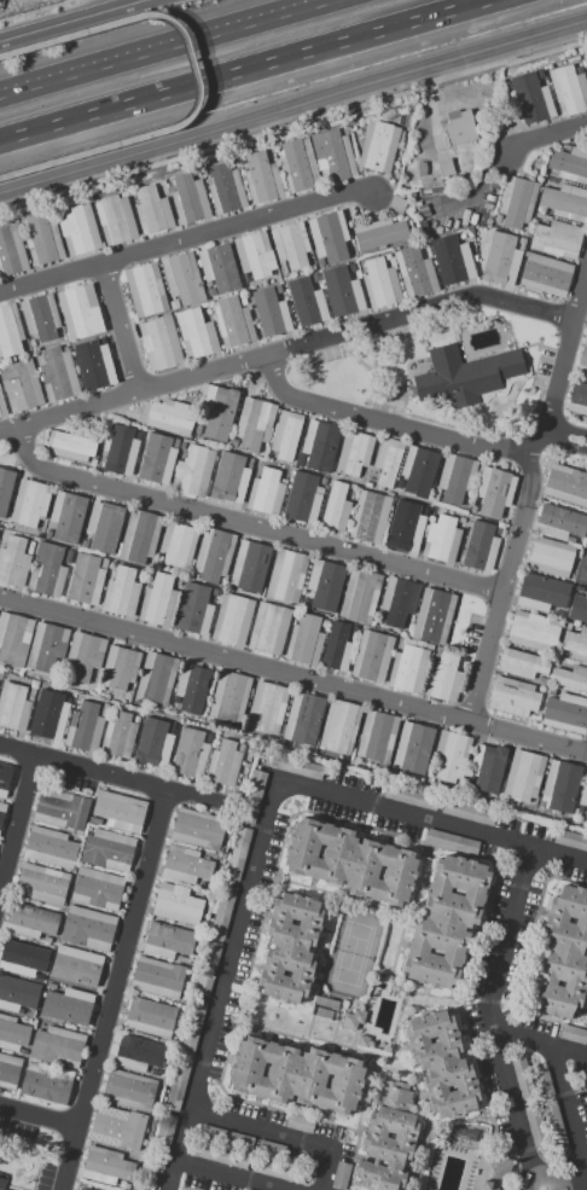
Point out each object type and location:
road: (33, 11)
road: (68, 19)
road: (173, 50)
road: (313, 51)
building: (585, 65)
building: (540, 75)
road: (193, 77)
building: (569, 88)
building: (530, 98)
road: (293, 106)
road: (68, 121)
building: (461, 129)
building: (344, 130)
road: (545, 138)
building: (379, 146)
building: (333, 156)
building: (569, 164)
building: (297, 166)
building: (446, 168)
building: (422, 169)
building: (261, 178)
building: (163, 185)
building: (225, 188)
building: (431, 192)
building: (188, 197)
building: (516, 202)
building: (565, 202)
building: (396, 205)
building: (420, 209)
building: (152, 210)
building: (498, 219)
building: (114, 220)
building: (79, 230)
building: (379, 233)
building: (329, 237)
building: (41, 239)
building: (557, 239)
road: (184, 242)
building: (291, 245)
building: (11, 251)
building: (254, 255)
building: (388, 257)
building: (453, 261)
building: (502, 261)
building: (320, 262)
building: (219, 268)
building: (353, 268)
building: (415, 273)
building: (546, 275)
building: (182, 278)
building: (315, 278)
building: (380, 284)
building: (279, 289)
building: (146, 290)
building: (210, 292)
building: (342, 292)
building: (243, 298)
building: (307, 302)
building: (174, 304)
building: (204, 306)
building: (80, 312)
building: (208, 312)
building: (271, 313)
building: (41, 318)
building: (232, 323)
road: (118, 330)
building: (10, 331)
building: (586, 332)
building: (196, 333)
building: (161, 344)
road: (286, 350)
building: (582, 360)
building: (94, 365)
building: (57, 375)
building: (465, 376)
building: (21, 385)
building: (577, 399)
building: (2, 407)
building: (217, 413)
building: (172, 417)
road: (376, 417)
building: (254, 424)
building: (286, 435)
road: (566, 437)
building: (175, 443)
building: (70, 446)
building: (318, 446)
building: (182, 447)
building: (120, 451)
building: (354, 452)
building: (157, 460)
building: (388, 460)
building: (194, 471)
building: (418, 471)
building: (232, 478)
building: (455, 478)
building: (214, 483)
building: (566, 484)
building: (367, 486)
building: (353, 487)
building: (5, 488)
building: (494, 490)
building: (266, 492)
building: (302, 498)
road: (527, 499)
building: (30, 503)
building: (336, 509)
building: (68, 516)
building: (370, 517)
building: (461, 519)
road: (251, 522)
building: (559, 522)
building: (104, 524)
building: (407, 527)
building: (499, 532)
building: (48, 533)
building: (139, 536)
building: (442, 540)
building: (85, 542)
building: (179, 545)
building: (30, 546)
building: (481, 546)
building: (213, 555)
building: (68, 557)
building: (158, 557)
building: (551, 557)
building: (13, 562)
building: (250, 565)
building: (47, 570)
building: (583, 570)
building: (141, 575)
building: (286, 576)
building: (86, 579)
building: (325, 585)
building: (121, 592)
building: (215, 593)
building: (541, 593)
building: (359, 596)
building: (158, 600)
building: (399, 600)
building: (580, 604)
building: (193, 609)
building: (434, 617)
building: (232, 620)
building: (268, 628)
building: (533, 631)
building: (14, 639)
building: (304, 640)
building: (576, 644)
building: (46, 648)
building: (337, 648)
building: (83, 656)
building: (372, 656)
building: (521, 663)
building: (118, 668)
building: (408, 668)
road: (292, 674)
building: (571, 677)
building: (157, 678)
building: (443, 678)
building: (194, 689)
building: (30, 693)
building: (231, 697)
building: (513, 697)
building: (68, 700)
building: (13, 707)
building: (267, 708)
building: (104, 709)
building: (565, 713)
building: (47, 718)
building: (304, 719)
building: (85, 727)
building: (339, 727)
building: (118, 736)
building: (377, 736)
building: (152, 747)
building: (413, 749)
building: (190, 753)
building: (451, 757)
building: (223, 764)
building: (487, 765)
building: (300, 767)
road: (109, 773)
building: (523, 777)
building: (4, 778)
building: (560, 784)
building: (252, 796)
building: (583, 796)
building: (413, 799)
road: (14, 811)
building: (62, 811)
building: (120, 811)
building: (467, 812)
building: (2, 813)
road: (403, 813)
building: (94, 822)
building: (197, 829)
building: (570, 838)
building: (452, 842)
building: (50, 847)
building: (107, 851)
building: (238, 854)
road: (559, 855)
building: (350, 861)
building: (185, 865)
building: (586, 883)
building: (42, 884)
building: (98, 889)
building: (178, 905)
building: (223, 907)
building: (31, 922)
building: (447, 922)
building: (88, 928)
building: (47, 940)
building: (169, 940)
building: (290, 948)
building: (563, 954)
building: (23, 957)
building: (182, 959)
building: (76, 966)
road: (225, 970)
building: (207, 973)
building: (158, 979)
building: (51, 987)
road: (116, 989)
building: (17, 994)
building: (68, 1006)
building: (150, 1018)
road: (512, 1027)
building: (192, 1028)
building: (13, 1034)
building: (573, 1034)
building: (58, 1046)
building: (138, 1053)
building: (441, 1064)
building: (8, 1070)
building: (296, 1075)
building: (523, 1080)
building: (46, 1082)
building: (542, 1082)
building: (178, 1084)
road: (508, 1089)
building: (128, 1090)
road: (40, 1119)
building: (298, 1124)
building: (536, 1126)
building: (117, 1127)
building: (554, 1127)
road: (277, 1132)
building: (461, 1136)
building: (226, 1138)
building: (389, 1138)
building: (163, 1140)
building: (271, 1149)
building: (221, 1155)
building: (106, 1166)
building: (279, 1171)
building: (493, 1172)
road: (548, 1172)
road: (226, 1176)
building: (341, 1176)
building: (1, 1184)
building: (83, 1189)
building: (248, 1189)

